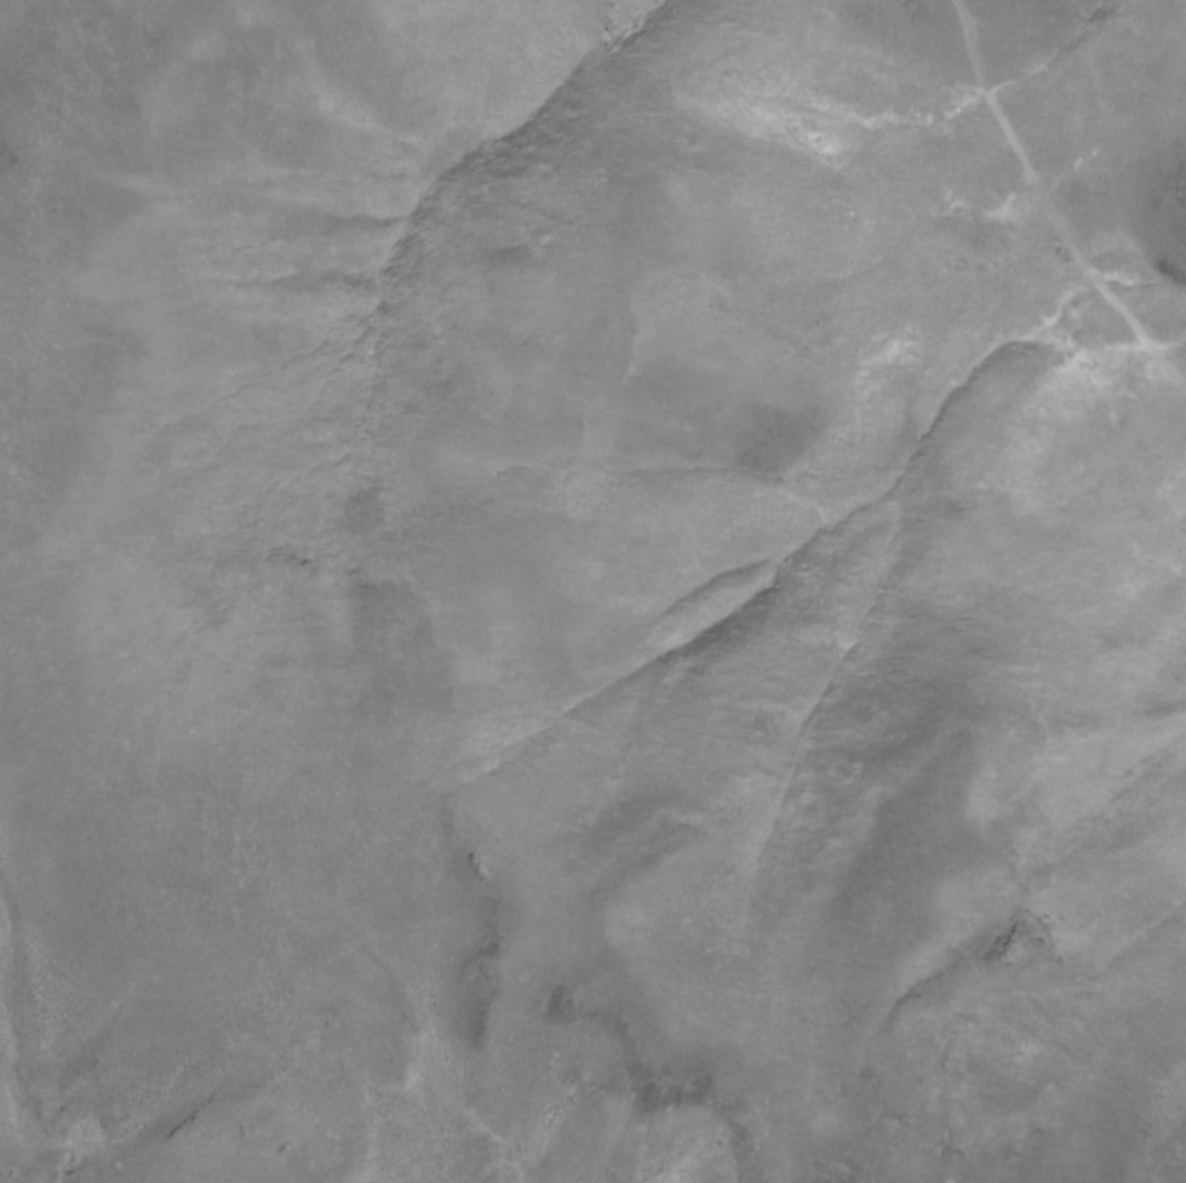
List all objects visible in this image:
road: (1047, 208)

